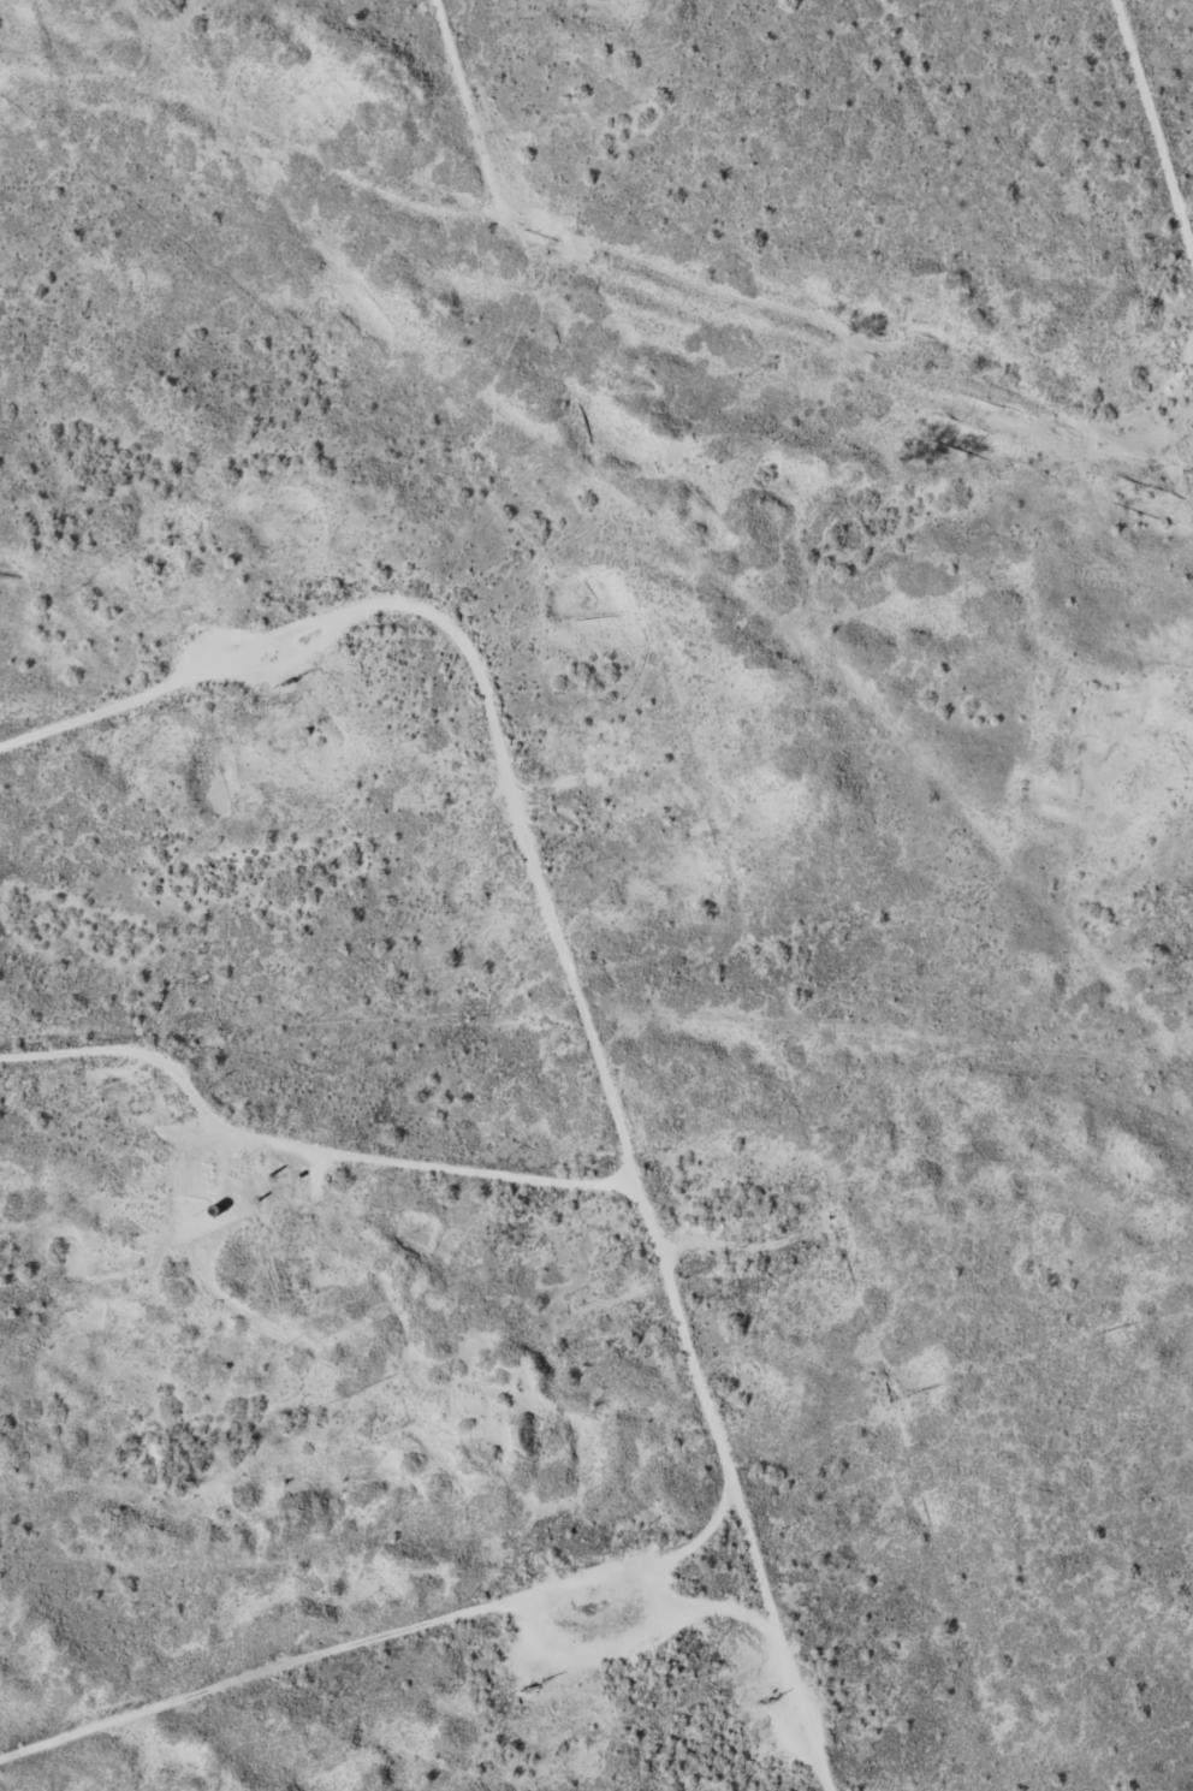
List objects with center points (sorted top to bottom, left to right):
road: (1149, 102)
road: (469, 686)
road: (613, 1208)
road: (388, 1678)

